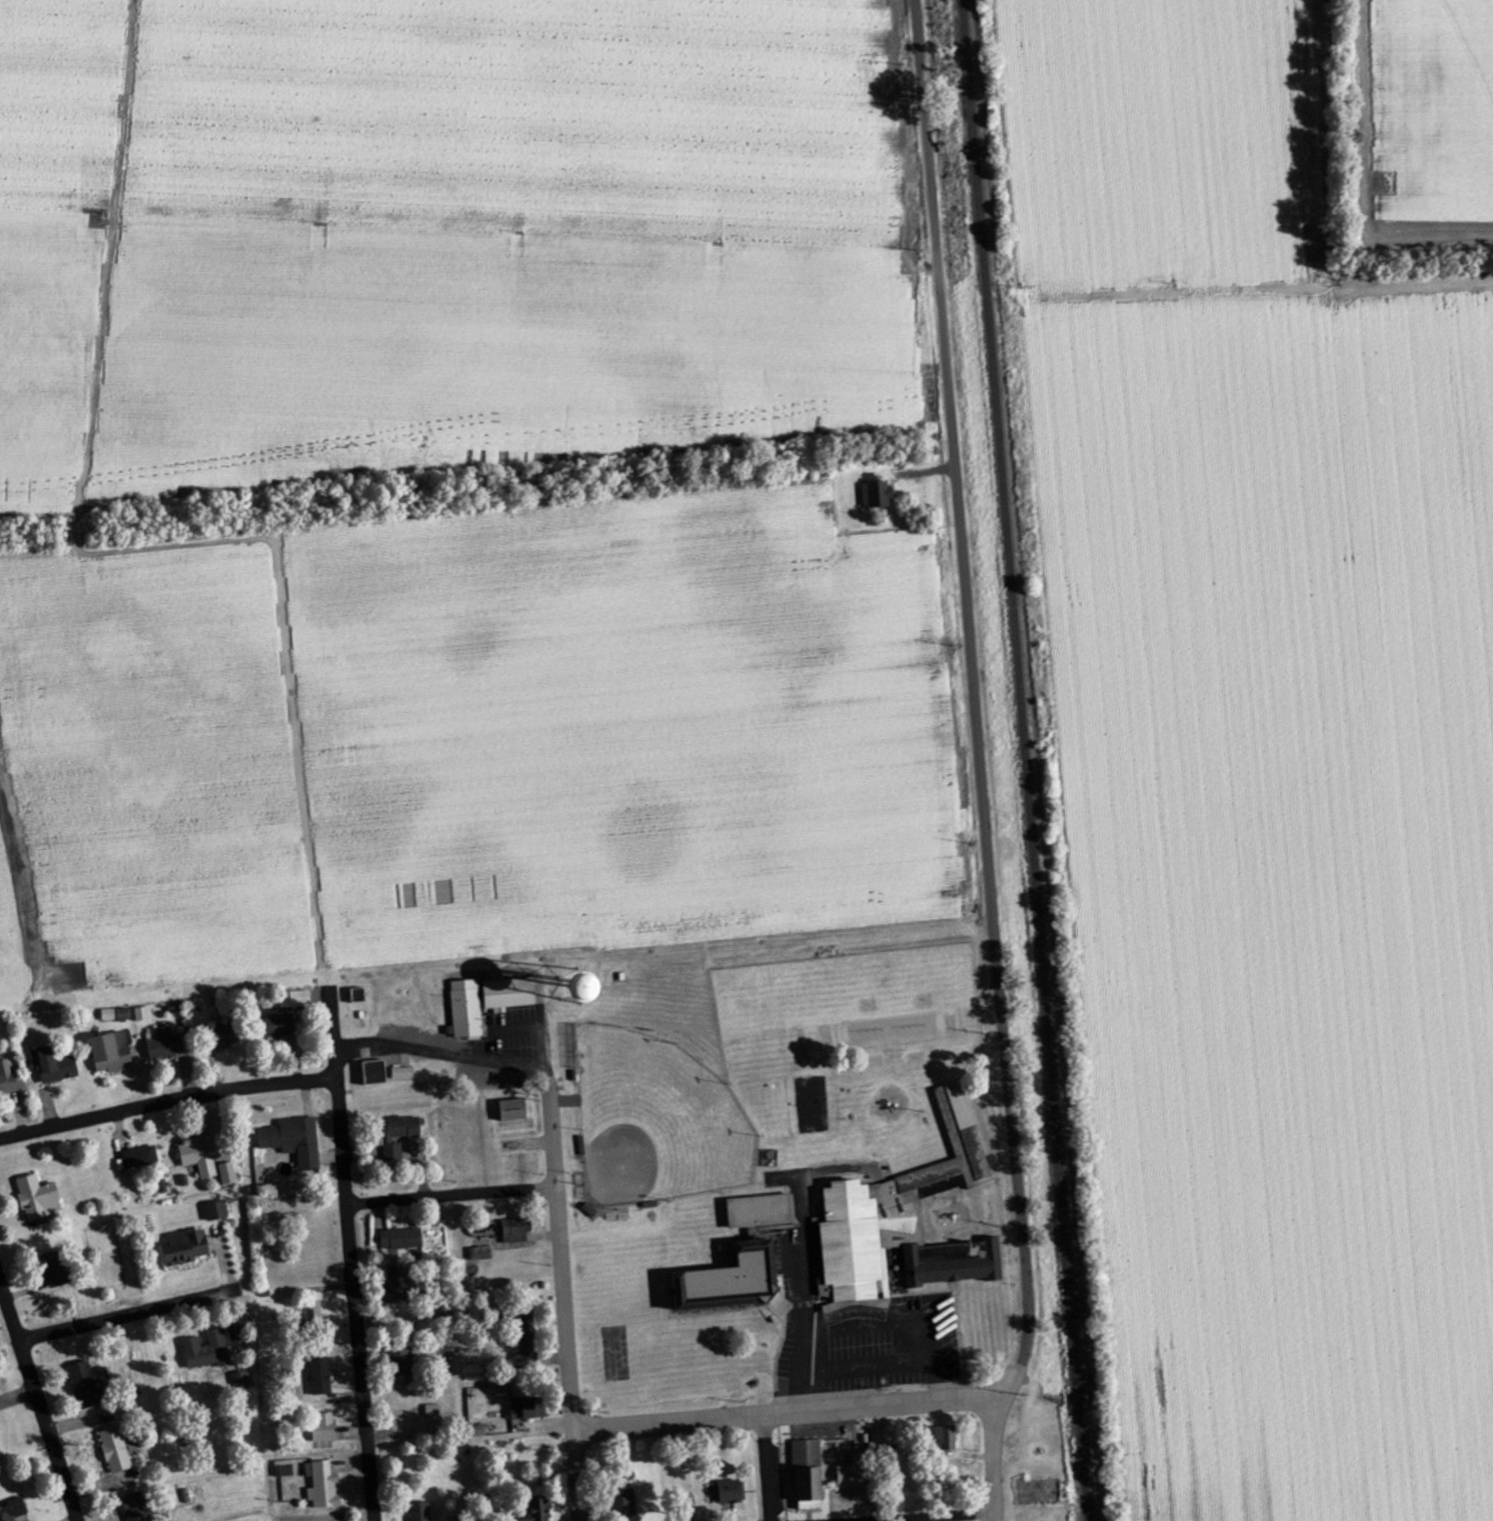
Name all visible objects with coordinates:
road: (927, 119)
building: (873, 495)
railway: (1025, 760)
road: (989, 829)
building: (614, 987)
water tower: (573, 989)
building: (511, 994)
building: (299, 1000)
building: (467, 1009)
building: (143, 1015)
building: (283, 1026)
building: (228, 1035)
road: (389, 1042)
building: (165, 1045)
building: (112, 1053)
building: (55, 1065)
building: (377, 1073)
building: (404, 1074)
building: (10, 1079)
road: (167, 1098)
building: (515, 1110)
park: (656, 1118)
building: (399, 1135)
building: (294, 1142)
building: (201, 1156)
building: (139, 1158)
building: (229, 1174)
road: (452, 1194)
building: (40, 1199)
building: (893, 1207)
building: (217, 1212)
building: (763, 1212)
building: (517, 1231)
building: (403, 1239)
road: (562, 1244)
building: (187, 1248)
building: (481, 1254)
road: (351, 1261)
building: (955, 1263)
building: (56, 1270)
building: (737, 1281)
building: (399, 1285)
road: (459, 1286)
road: (111, 1314)
road: (796, 1322)
building: (238, 1336)
building: (208, 1351)
building: (525, 1354)
building: (404, 1361)
building: (322, 1377)
building: (243, 1382)
building: (89, 1385)
road: (39, 1400)
building: (529, 1409)
road: (780, 1409)
building: (407, 1421)
building: (325, 1428)
building: (878, 1439)
building: (946, 1439)
building: (116, 1451)
building: (0, 1456)
road: (990, 1463)
road: (773, 1465)
building: (284, 1469)
building: (854, 1473)
building: (324, 1486)
building: (729, 1492)
building: (627, 1503)
building: (137, 1507)
building: (539, 1510)
building: (420, 1512)
road: (925, 1517)
building: (456, 1519)

